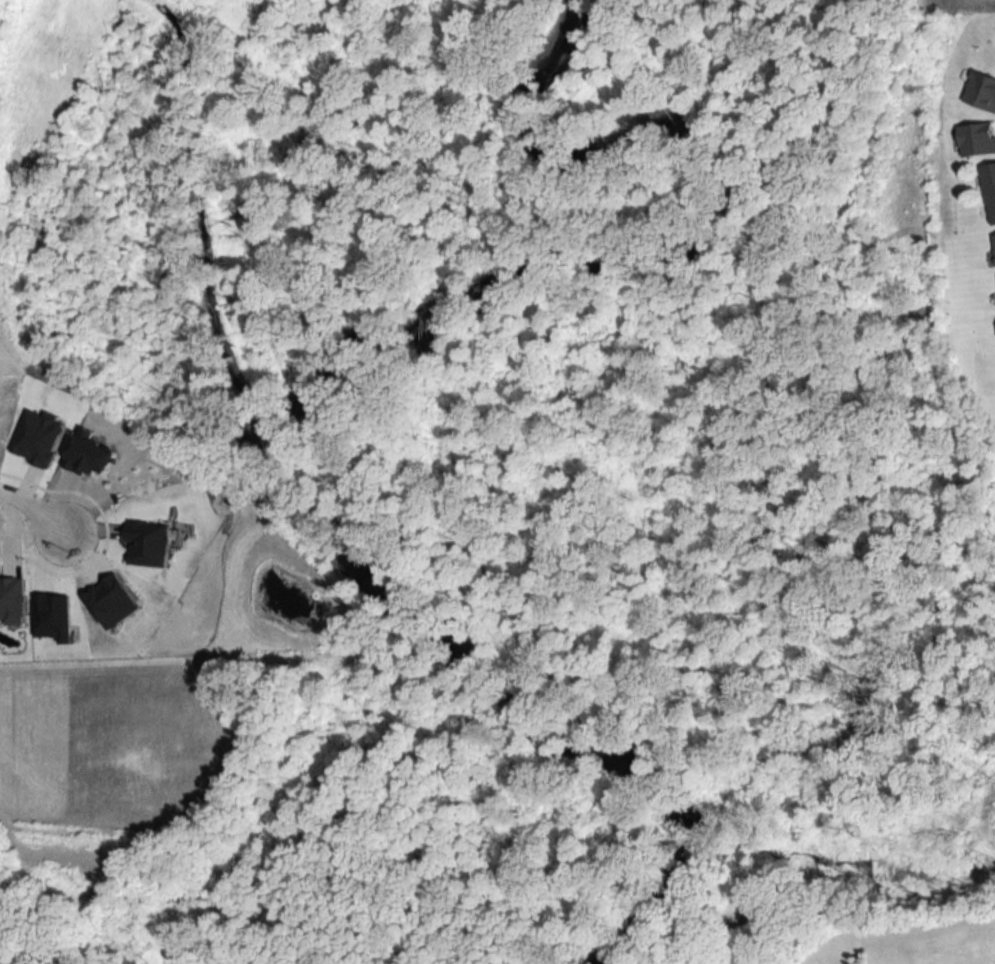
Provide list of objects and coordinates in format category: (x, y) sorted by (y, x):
building: (990, 189)
river: (684, 252)
road: (38, 506)
river: (505, 708)
park: (844, 936)

